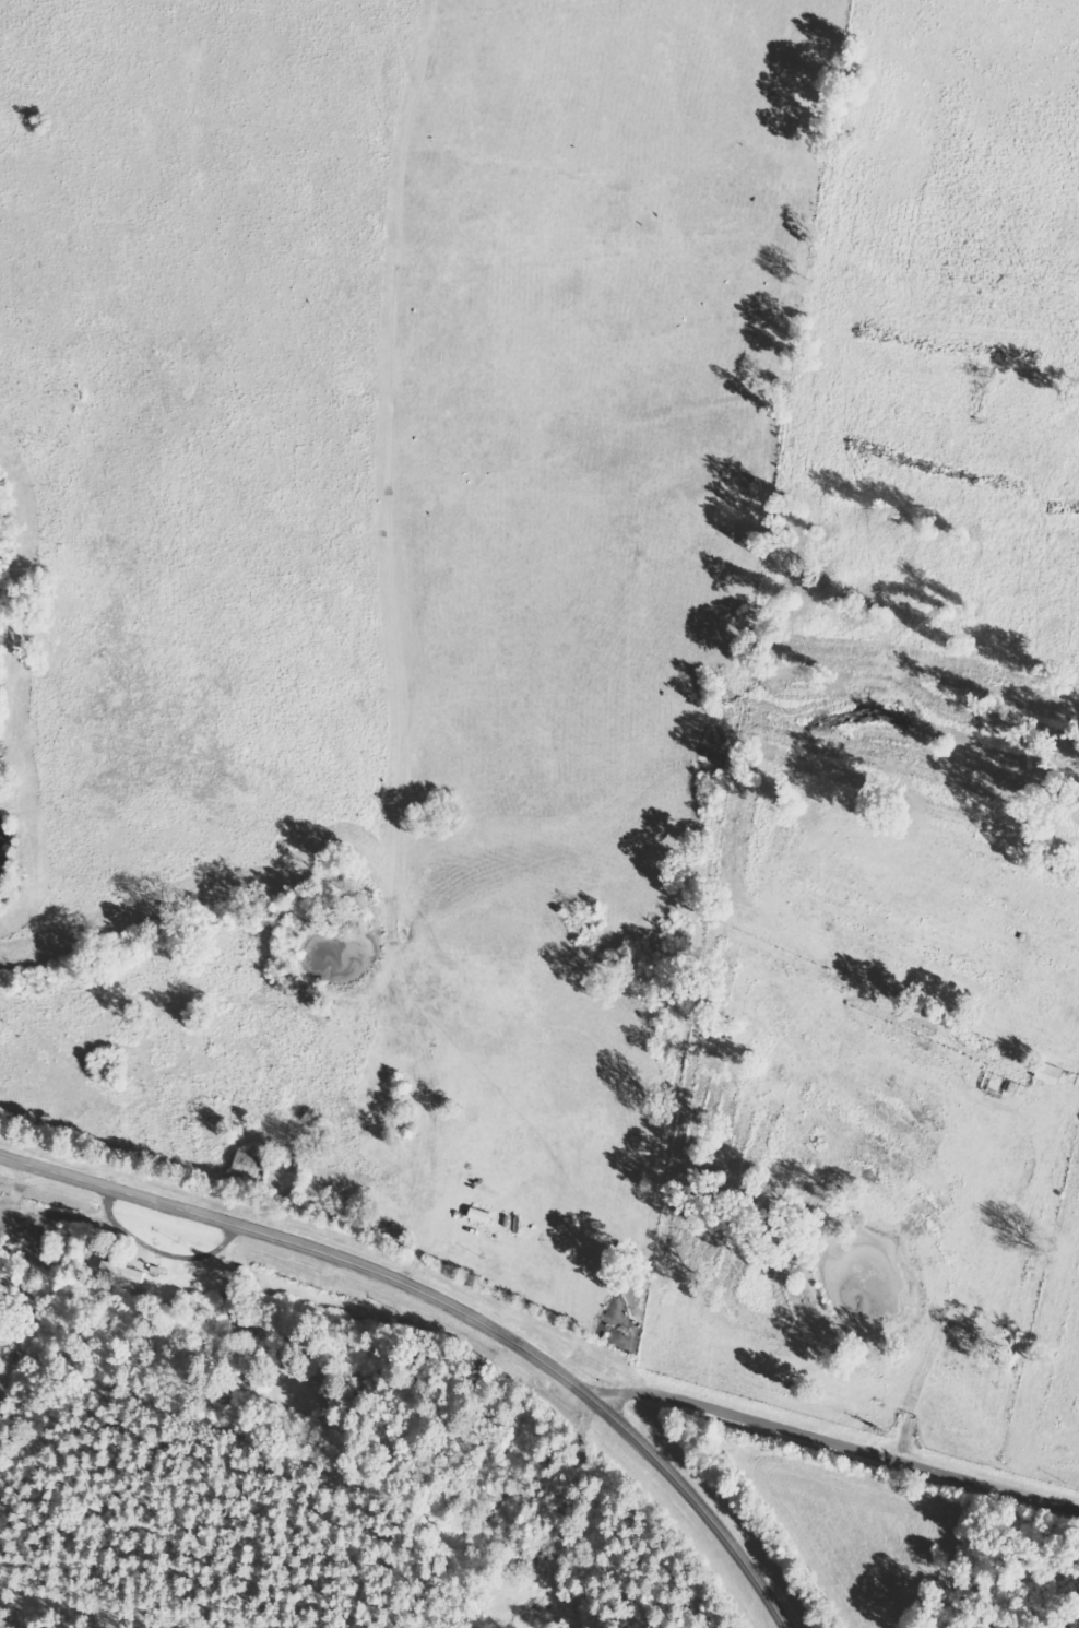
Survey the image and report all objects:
road: (448, 1305)
road: (842, 1476)

